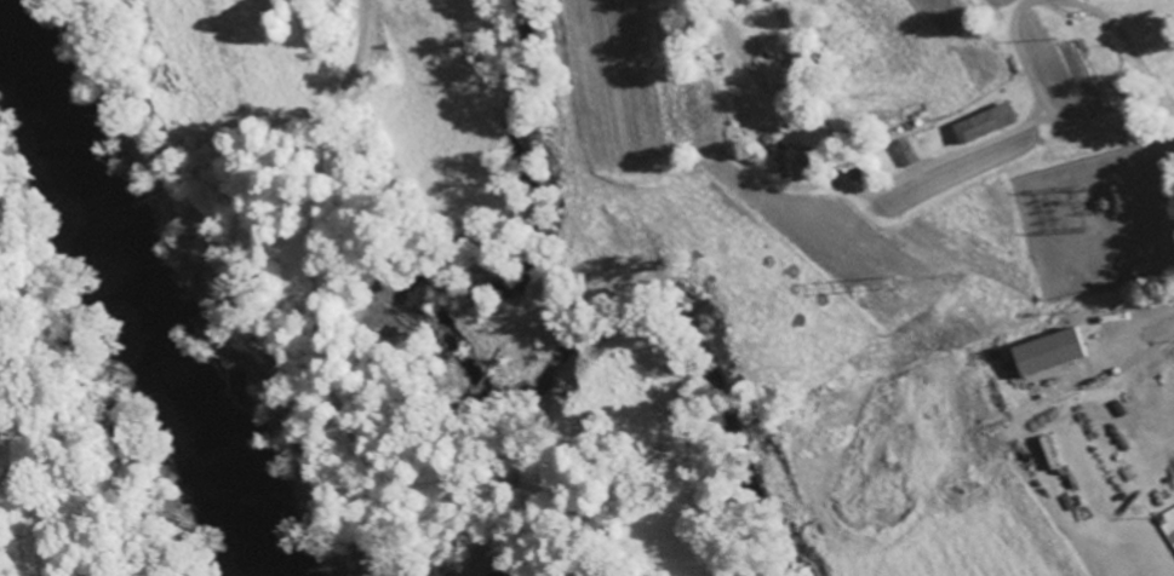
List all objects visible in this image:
building: (981, 122)
building: (903, 152)
river: (102, 304)
building: (1044, 352)

